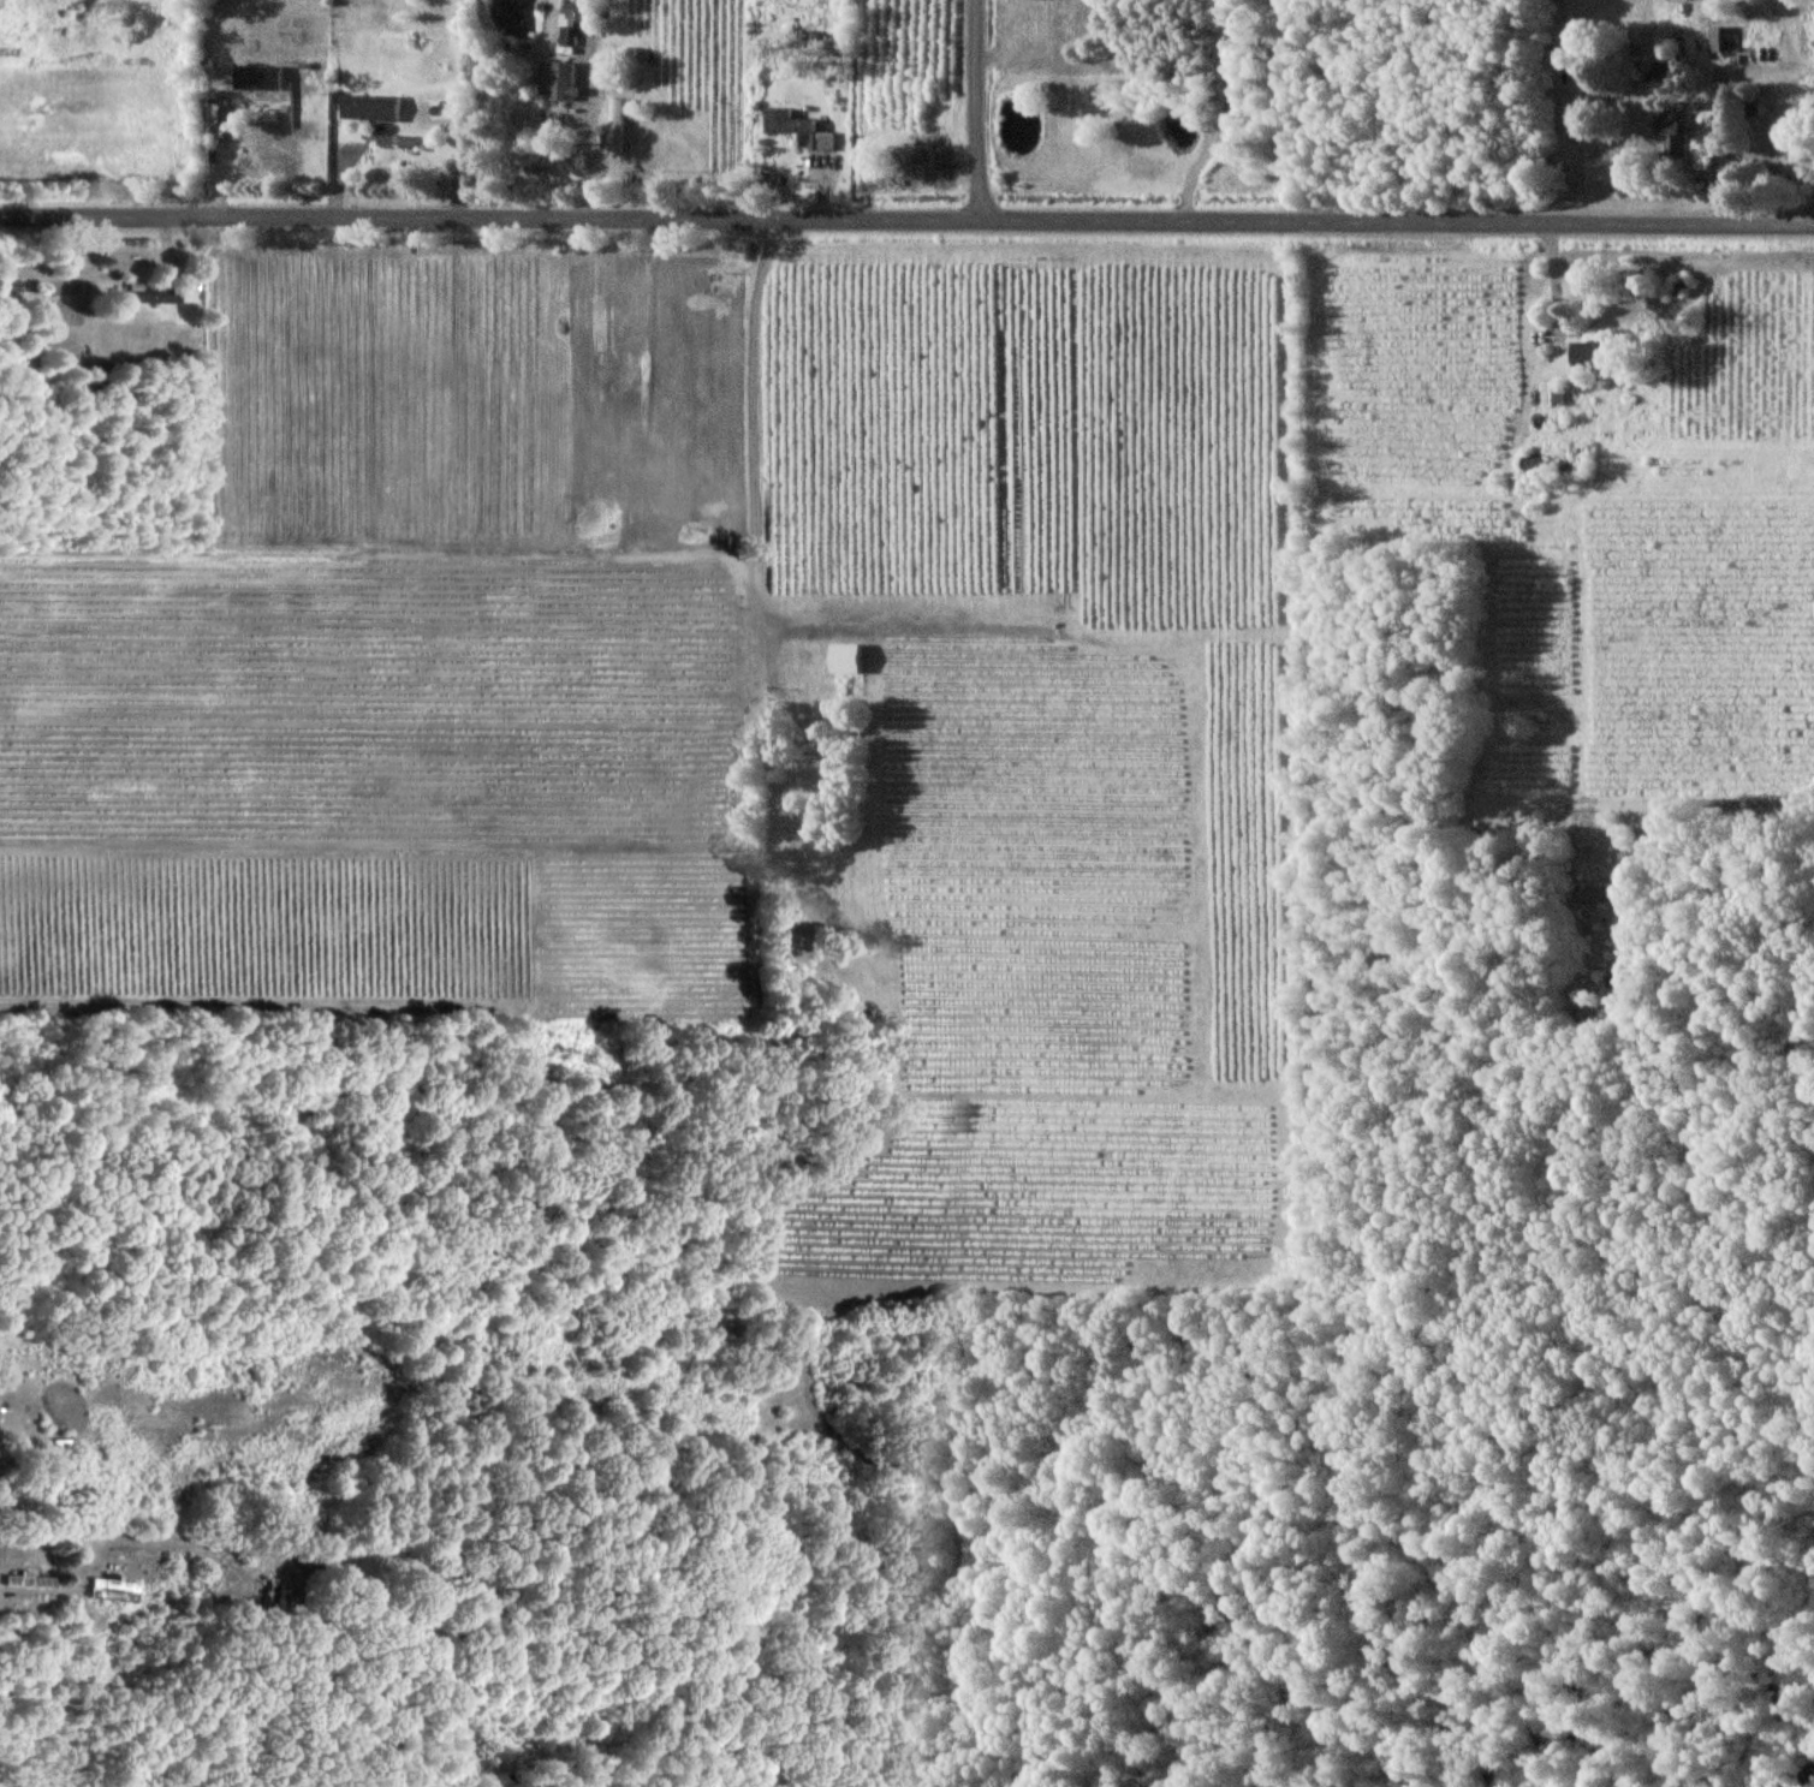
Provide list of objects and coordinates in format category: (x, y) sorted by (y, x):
building: (577, 16)
building: (1724, 38)
building: (263, 77)
building: (560, 78)
building: (375, 107)
road: (1720, 108)
road: (980, 112)
road: (1226, 115)
building: (620, 126)
building: (795, 129)
building: (1671, 135)
building: (406, 139)
road: (906, 222)
building: (150, 293)
building: (1582, 353)
building: (1551, 393)
building: (854, 657)
building: (1595, 895)
building: (108, 1586)

